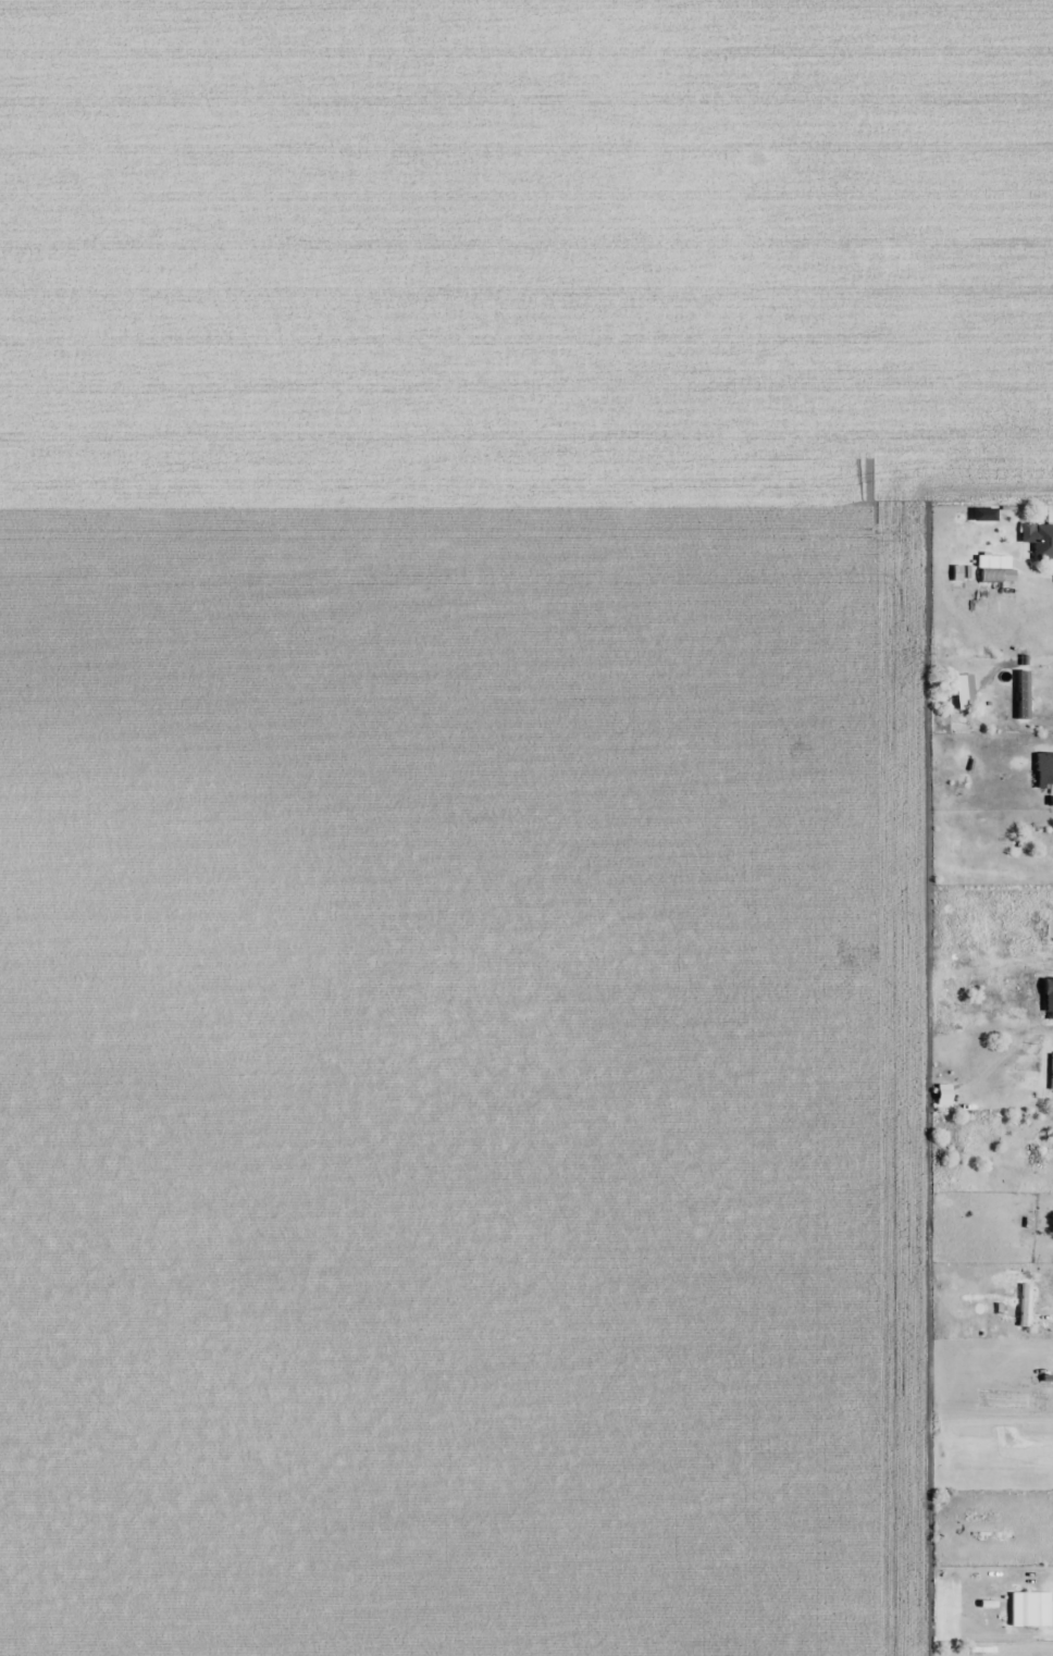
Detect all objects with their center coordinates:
building: (1043, 542)
building: (993, 568)
building: (962, 691)
building: (1045, 844)
building: (1050, 1053)
building: (1026, 1306)
building: (1029, 1609)

